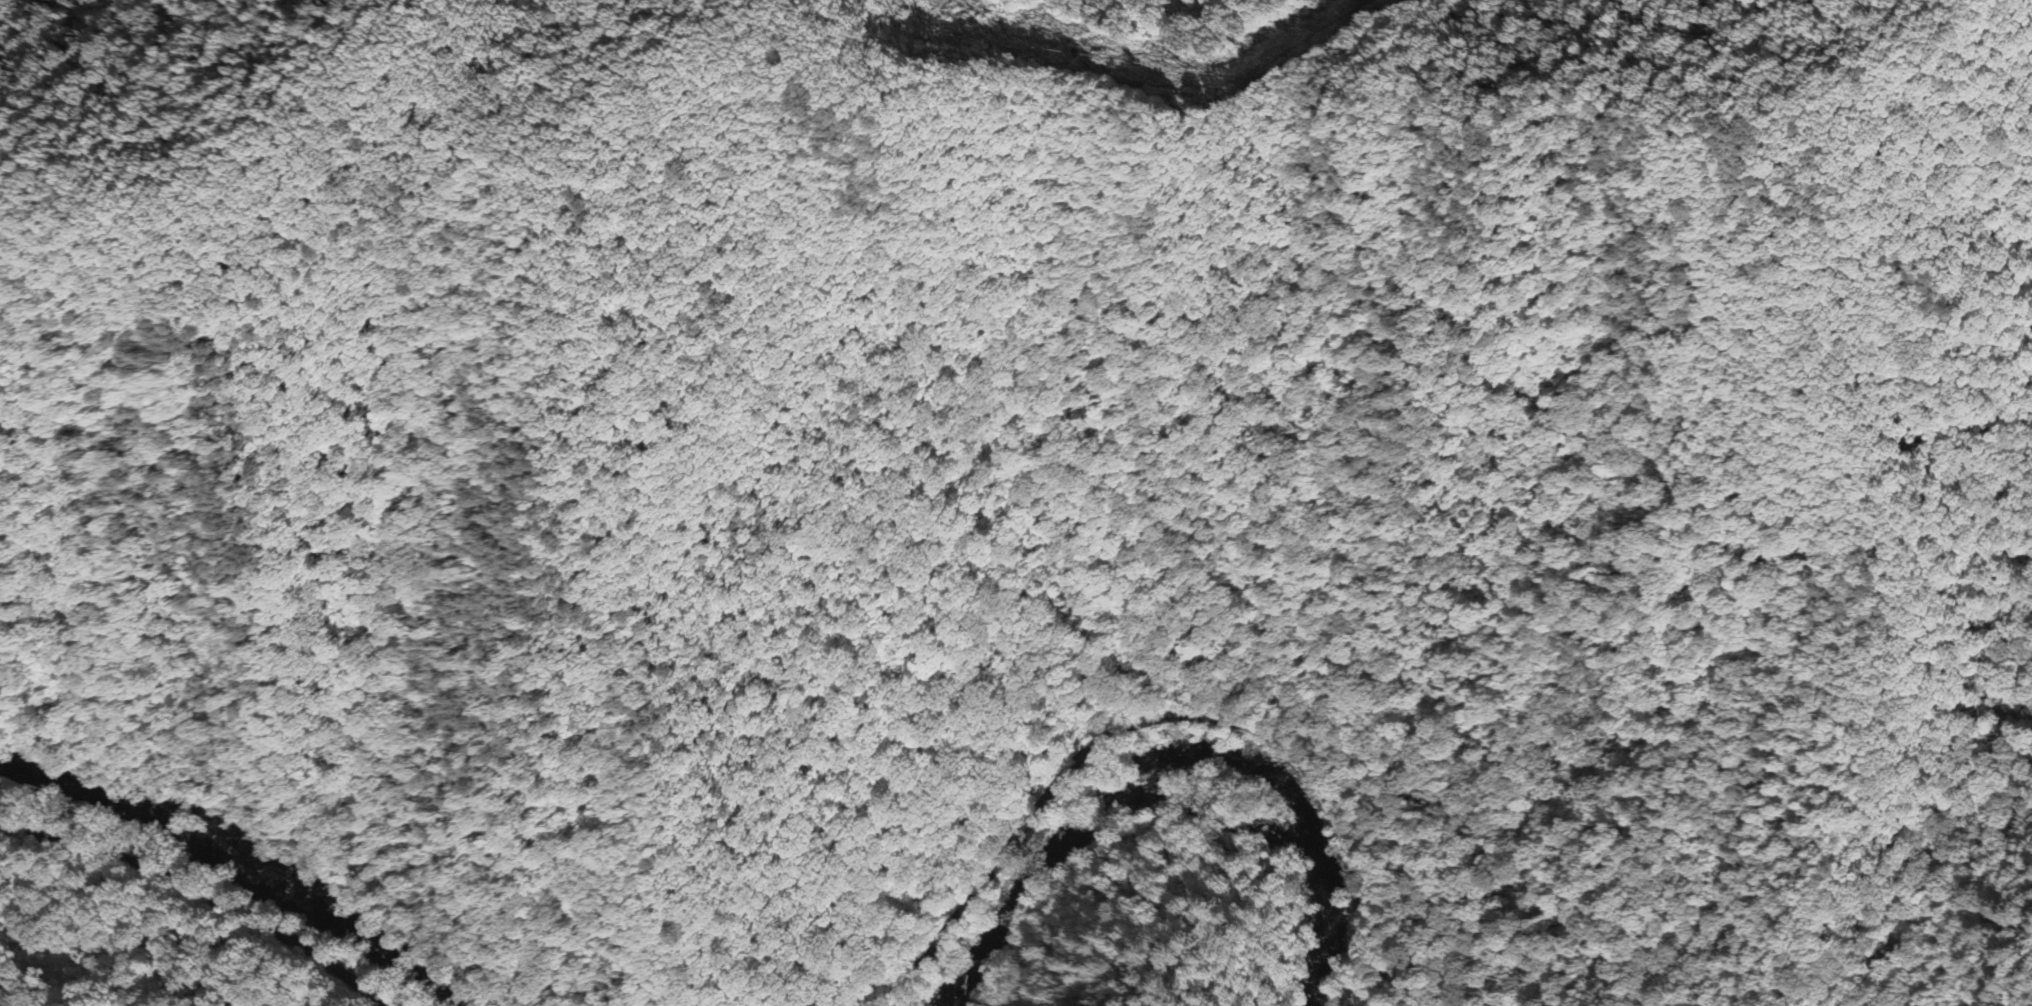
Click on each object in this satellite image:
road: (1163, 716)
river: (1166, 760)
river: (234, 866)
road: (201, 894)

